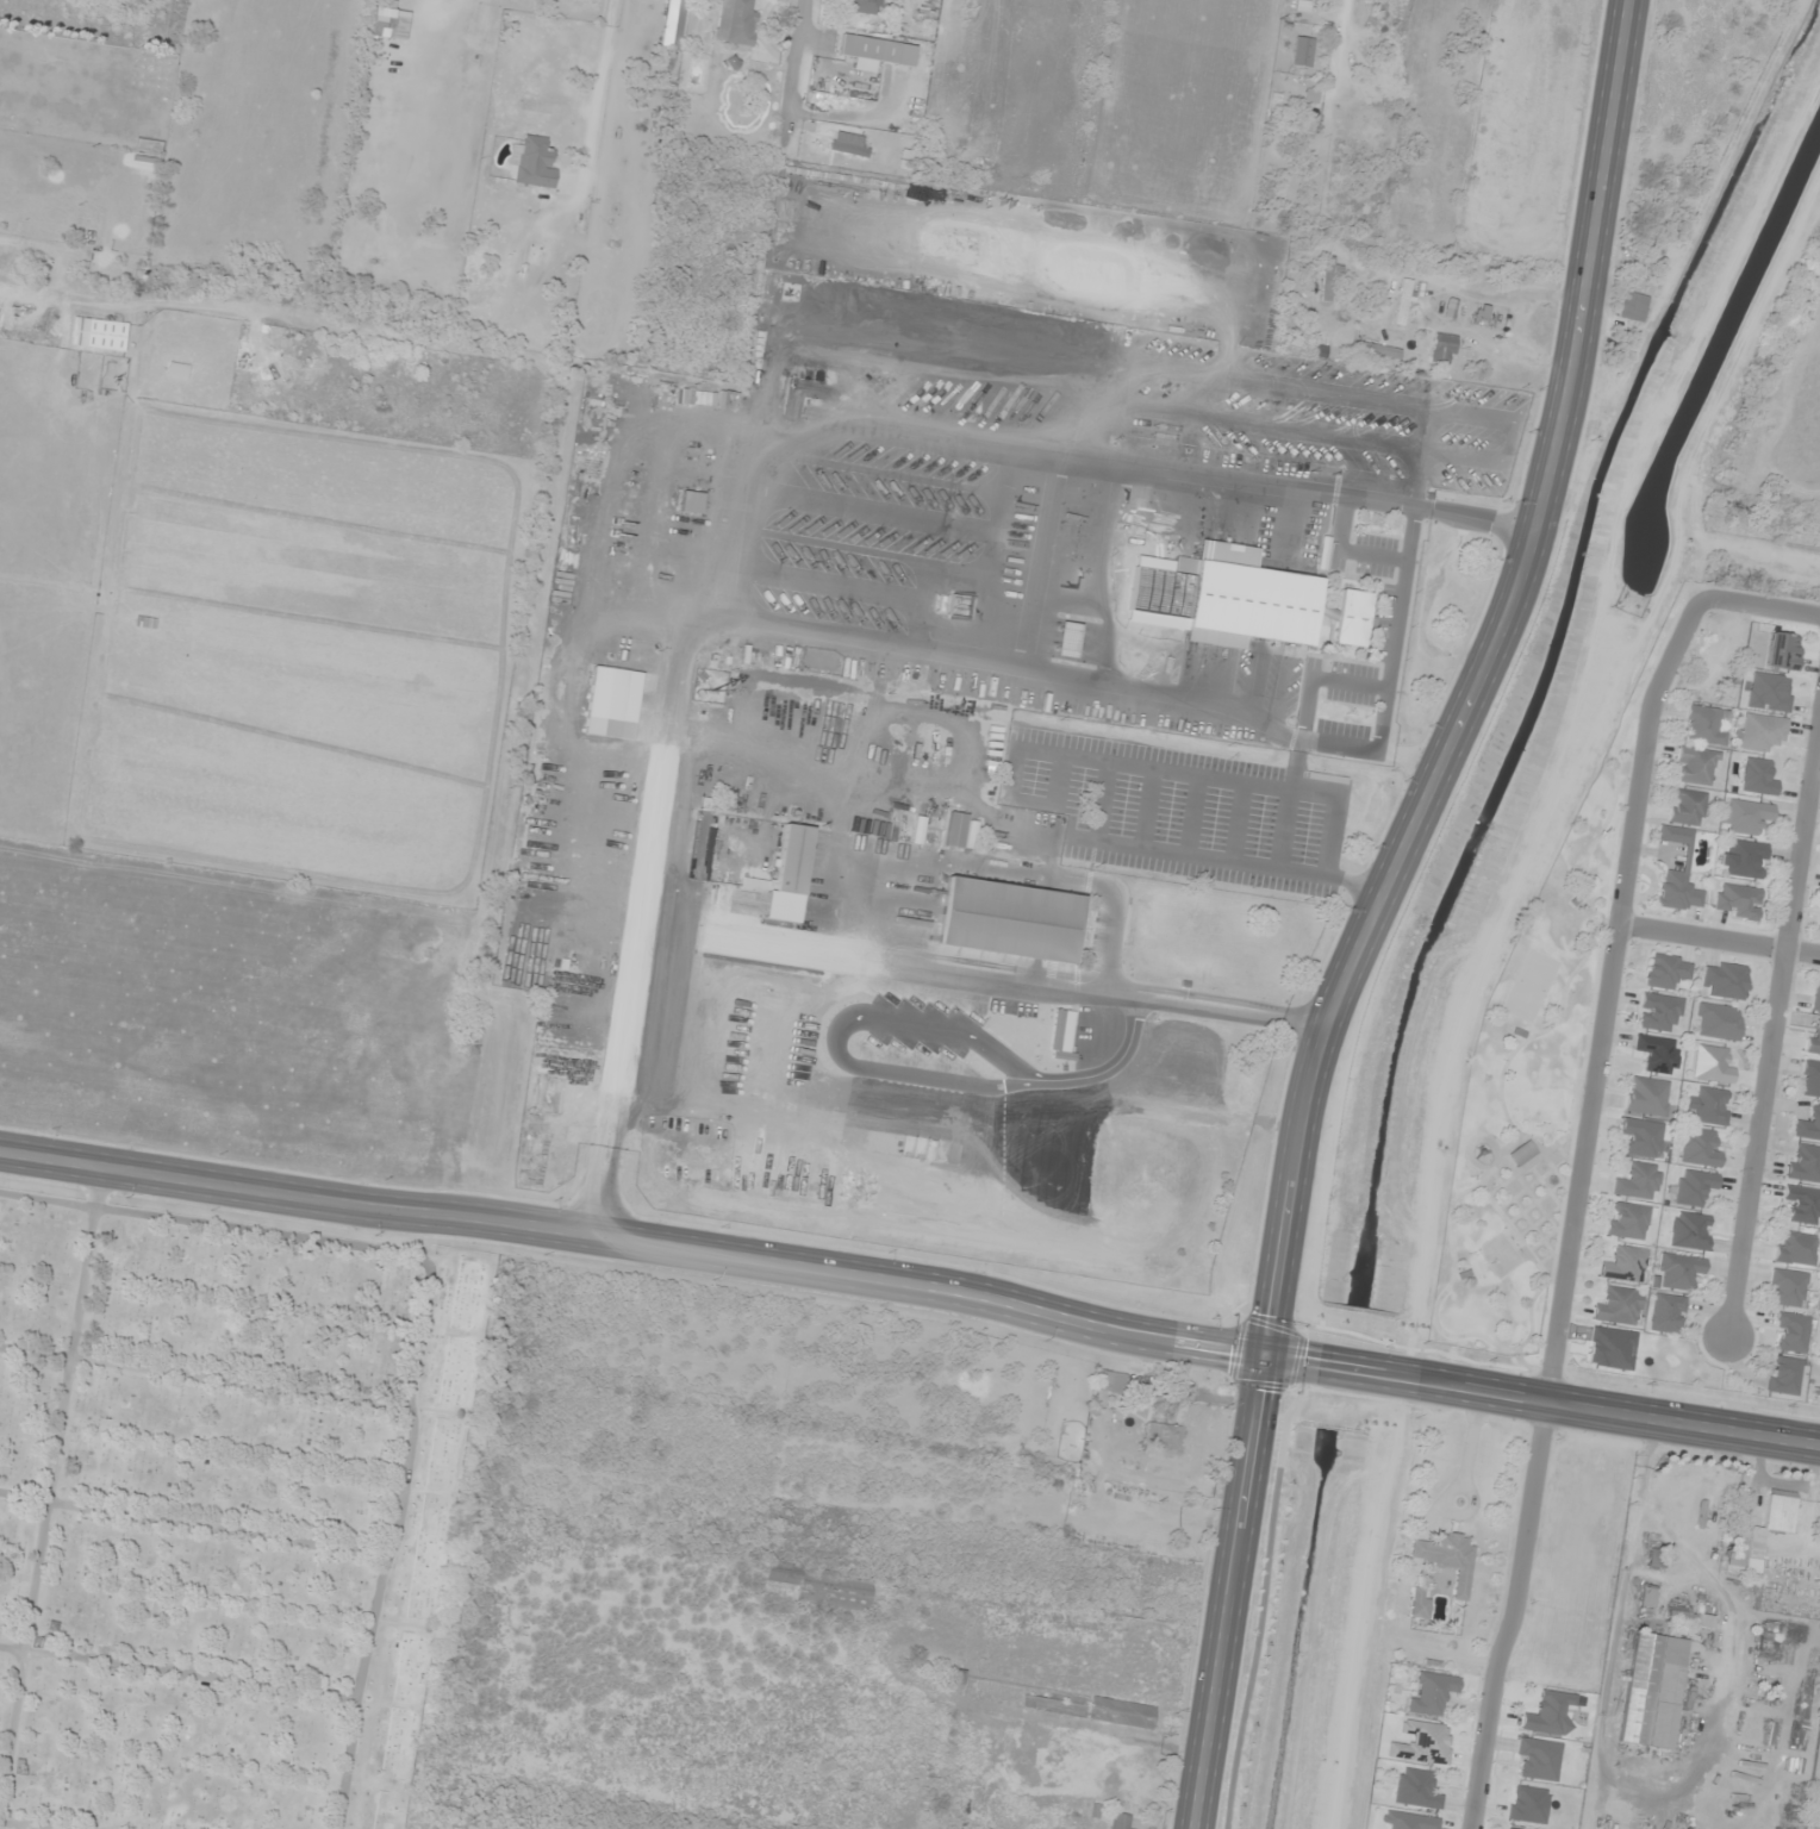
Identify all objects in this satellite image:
building: (864, 6)
building: (736, 21)
building: (389, 24)
building: (877, 50)
building: (1302, 51)
road: (1375, 55)
road: (797, 68)
road: (1528, 104)
building: (850, 144)
building: (541, 167)
building: (81, 226)
building: (99, 229)
building: (18, 238)
building: (1327, 279)
building: (1403, 302)
building: (1633, 306)
building: (1450, 310)
building: (1479, 316)
building: (100, 333)
building: (1444, 348)
building: (1320, 350)
building: (1378, 350)
building: (760, 363)
building: (692, 502)
road: (1448, 513)
building: (1241, 599)
road: (1764, 606)
building: (1353, 618)
building: (1068, 639)
building: (1782, 651)
building: (1703, 725)
building: (1759, 731)
road: (1616, 761)
building: (1697, 766)
building: (1758, 776)
building: (1688, 807)
building: (1746, 816)
building: (955, 830)
building: (1745, 859)
building: (787, 868)
road: (986, 874)
building: (1678, 875)
building: (1738, 901)
road: (1376, 904)
building: (1010, 920)
road: (1604, 922)
road: (1720, 941)
building: (1668, 970)
road: (980, 980)
building: (1725, 980)
building: (1816, 995)
building: (1660, 1011)
building: (1719, 1022)
road: (622, 1026)
building: (1062, 1035)
building: (1814, 1037)
road: (835, 1040)
road: (1775, 1040)
building: (1659, 1054)
building: (1713, 1065)
road: (1108, 1072)
building: (1810, 1079)
building: (1647, 1095)
park: (1523, 1099)
building: (1712, 1105)
building: (1808, 1124)
building: (1643, 1137)
building: (1701, 1148)
building: (1521, 1153)
building: (1805, 1162)
building: (1638, 1181)
building: (1694, 1186)
building: (1802, 1204)
road: (1577, 1209)
building: (1628, 1221)
building: (1690, 1230)
road: (635, 1241)
building: (1796, 1248)
building: (1625, 1265)
building: (1679, 1271)
building: (1788, 1287)
building: (1619, 1306)
road: (1436, 1313)
building: (1668, 1313)
building: (1791, 1332)
traffic signals: (1265, 1359)
building: (1784, 1375)
building: (1110, 1382)
road: (1542, 1400)
building: (1164, 1436)
building: (1780, 1511)
park: (223, 1512)
building: (1741, 1550)
building: (1656, 1558)
building: (1447, 1559)
building: (823, 1587)
building: (1648, 1596)
building: (1419, 1603)
building: (1689, 1619)
building: (1652, 1691)
building: (1433, 1693)
building: (1121, 1712)
building: (1550, 1713)
building: (1423, 1743)
building: (1537, 1760)
building: (1415, 1789)
building: (980, 1815)
building: (1120, 1821)
building: (1409, 1821)

